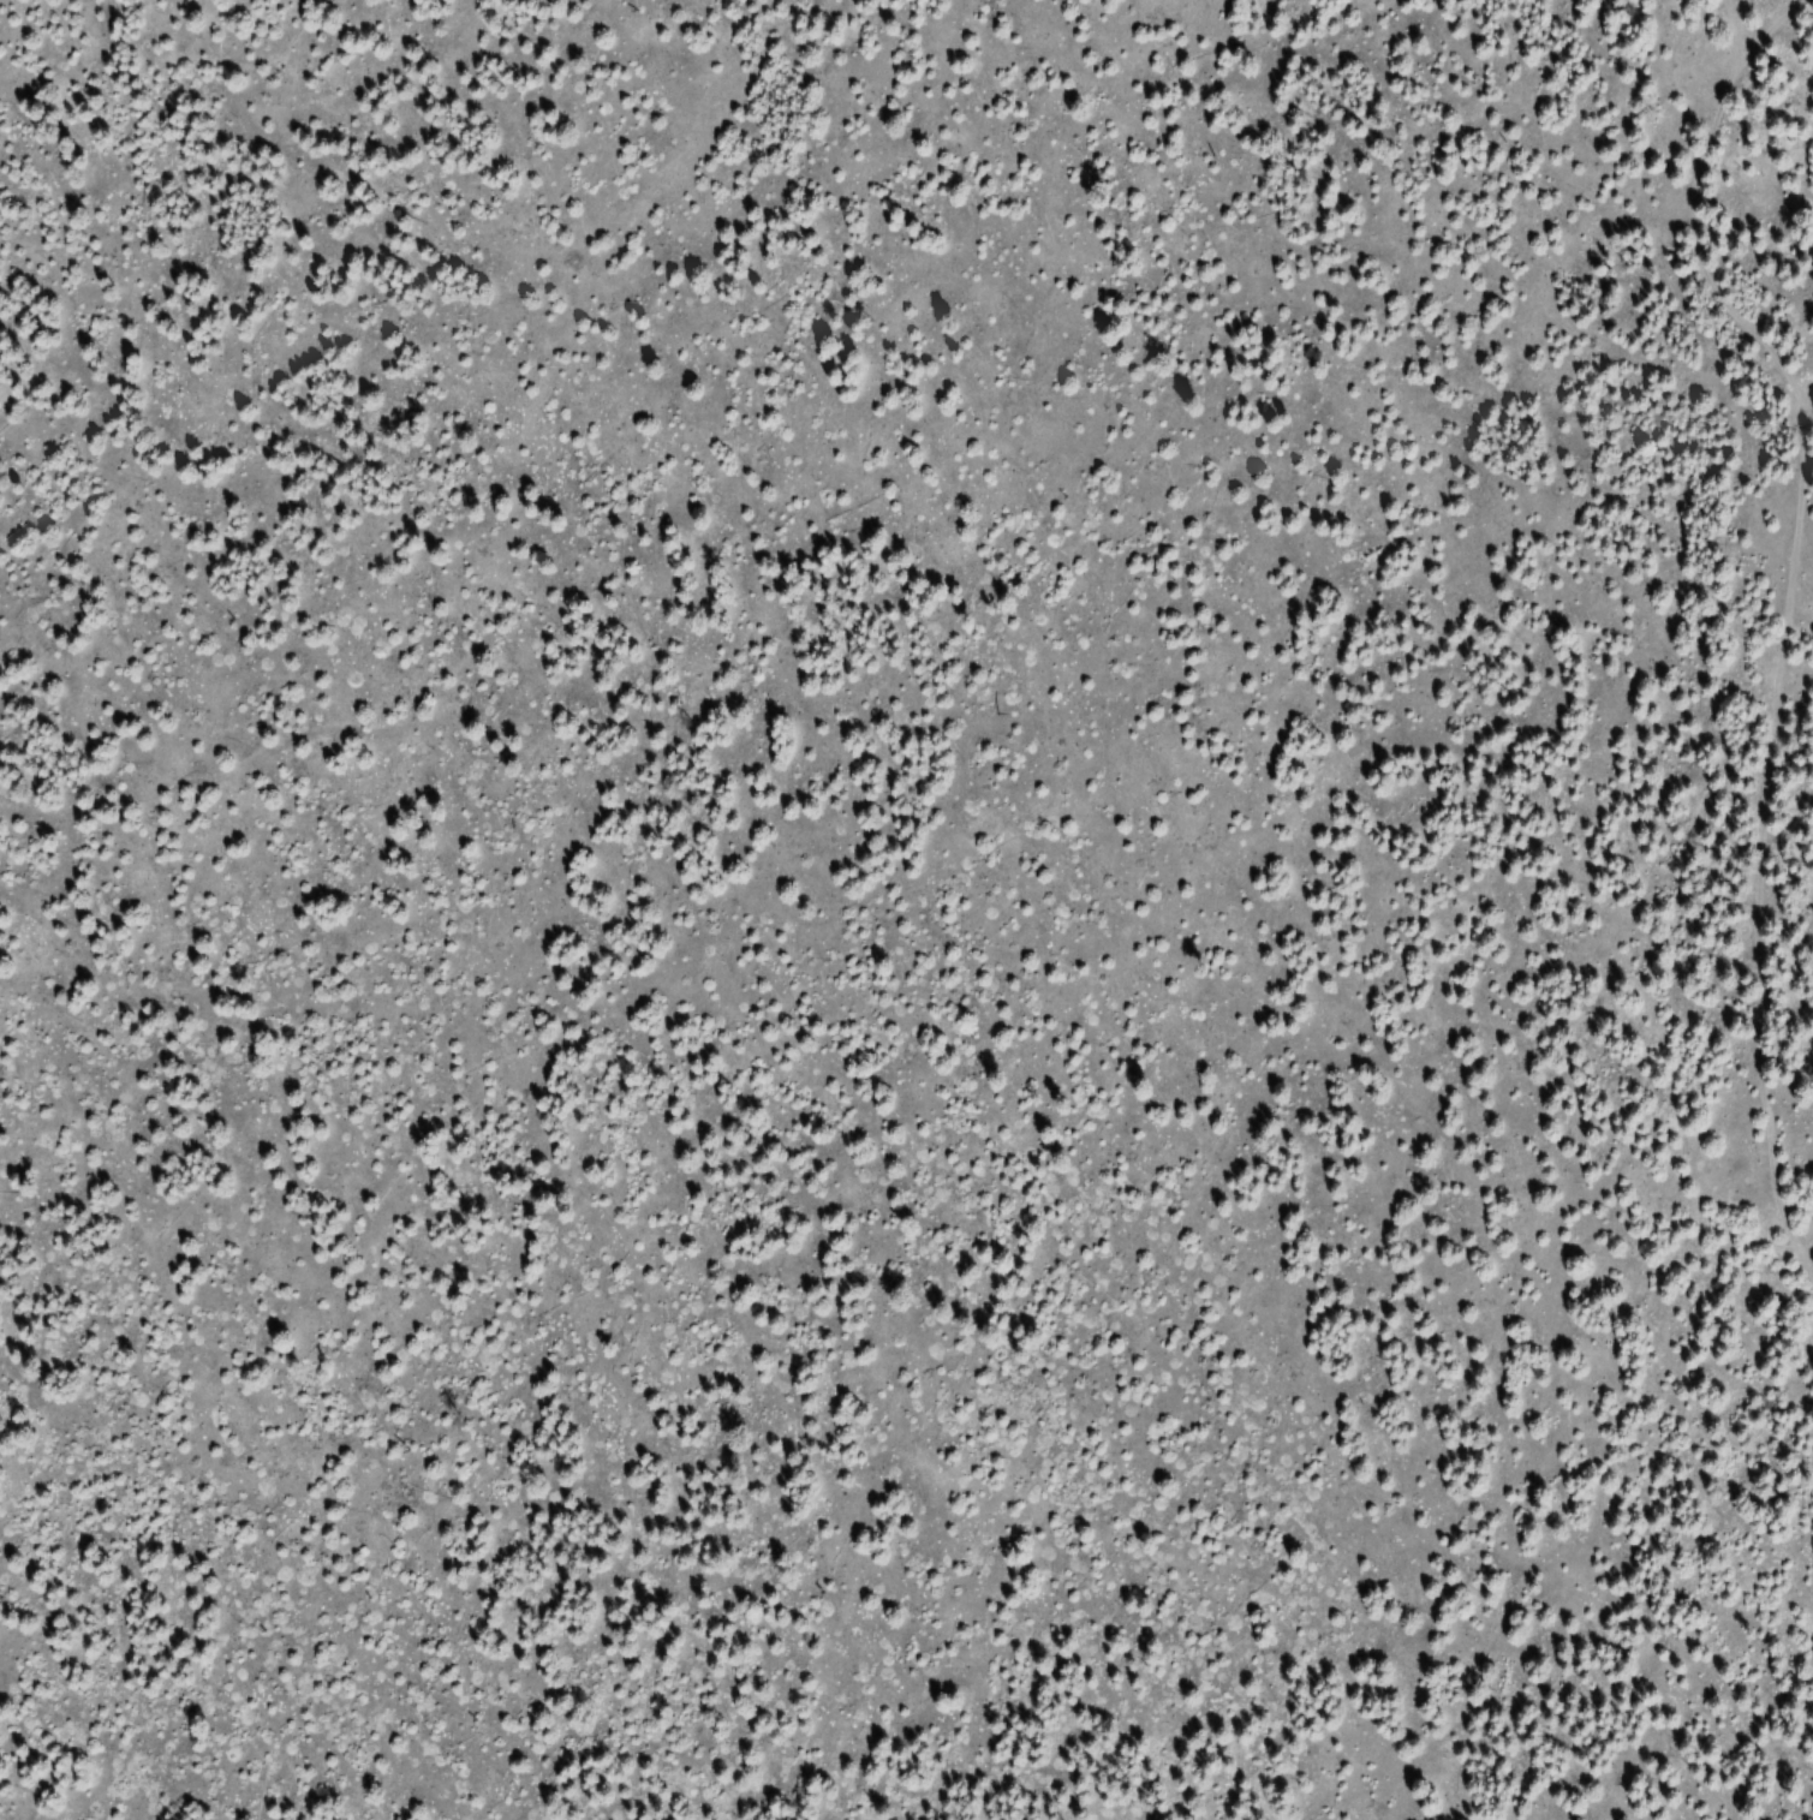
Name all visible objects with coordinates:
road: (1764, 26)
road: (1805, 390)
road: (1782, 620)

